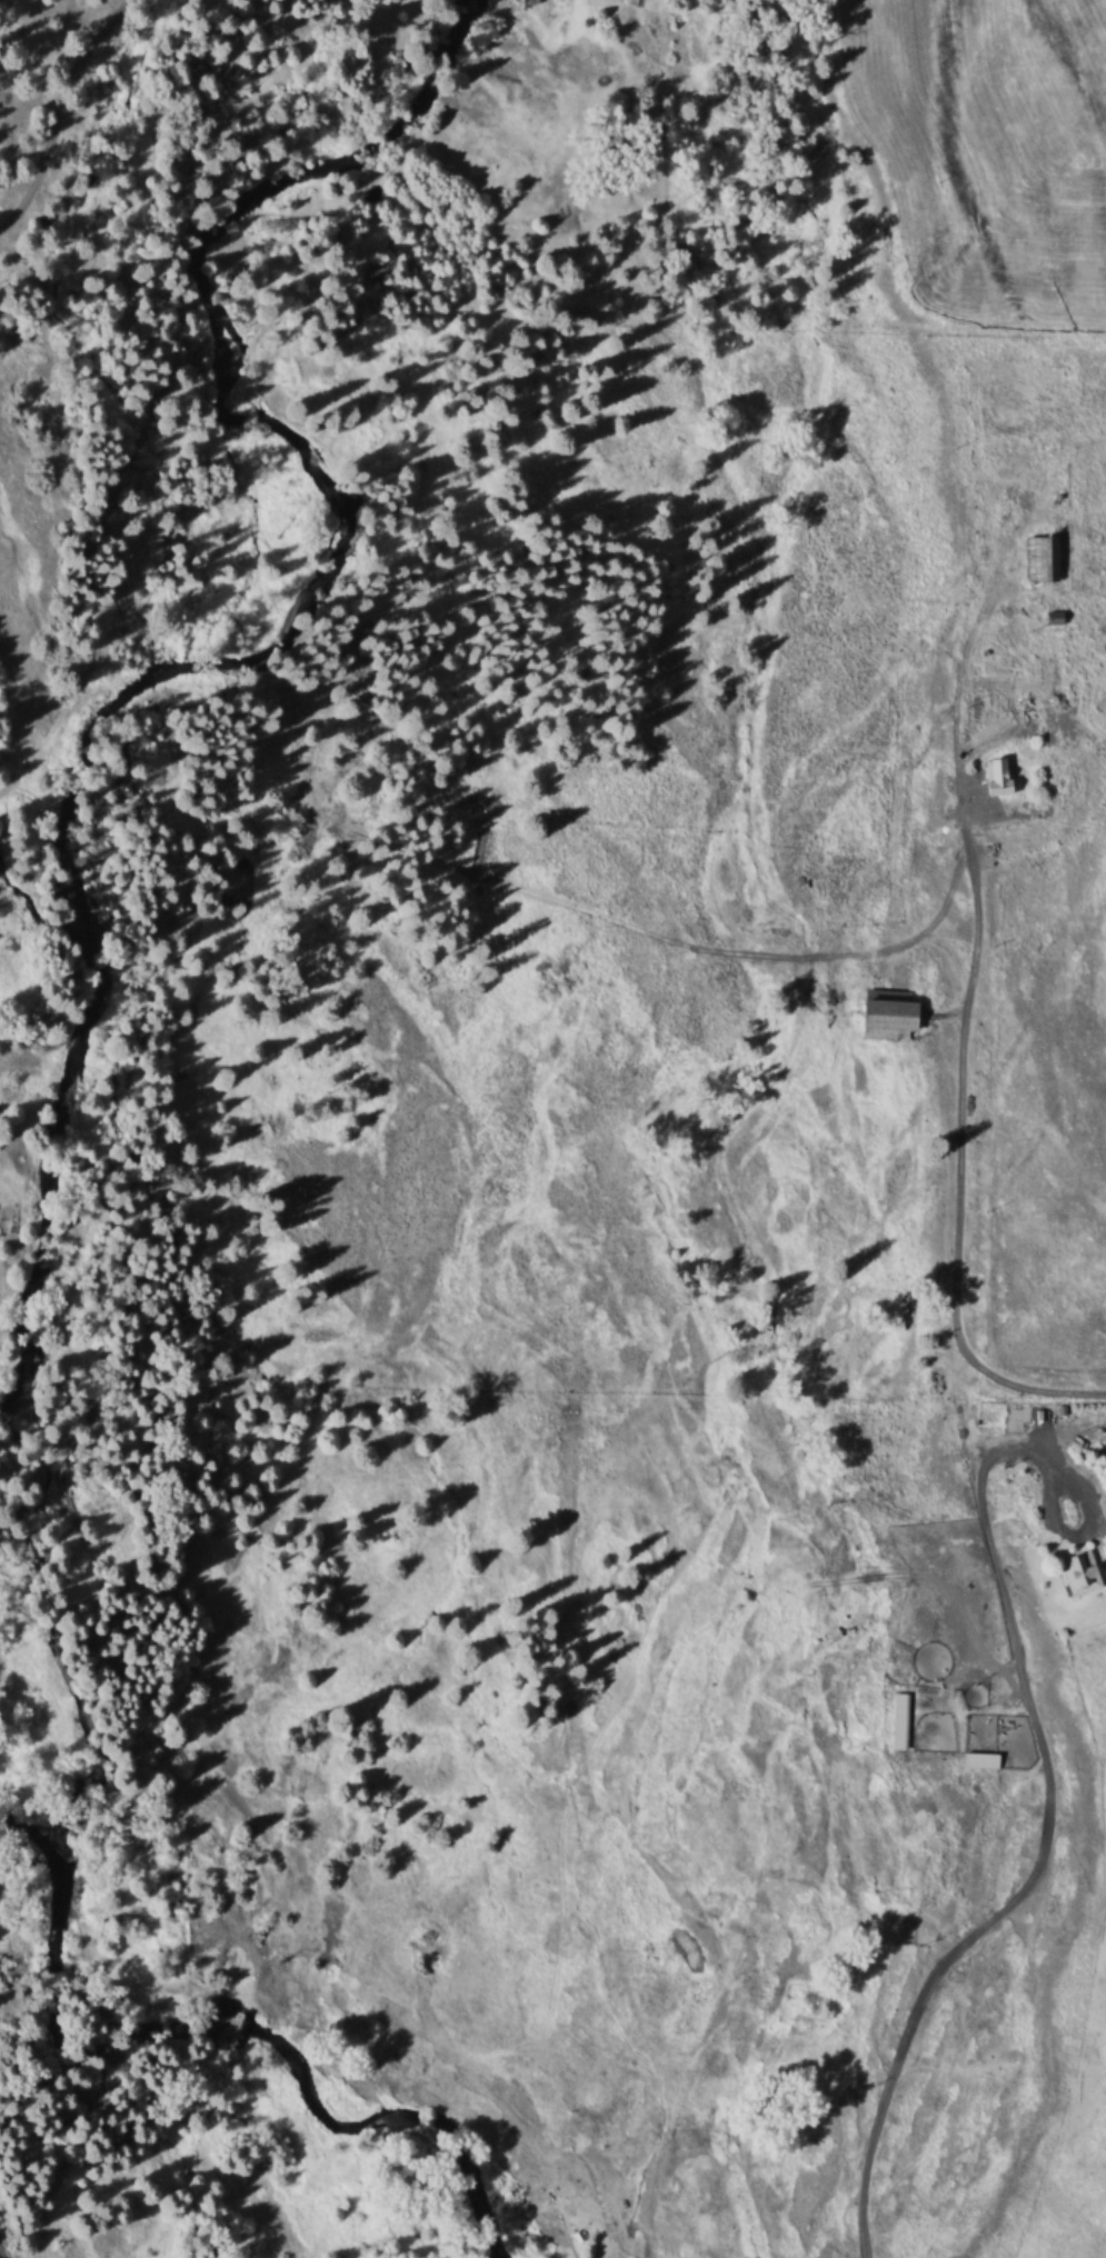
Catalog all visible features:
building: (1040, 556)
building: (898, 1012)
river: (142, 1196)
crop: (890, 1231)
building: (1087, 1570)
building: (906, 1719)
building: (987, 1758)

